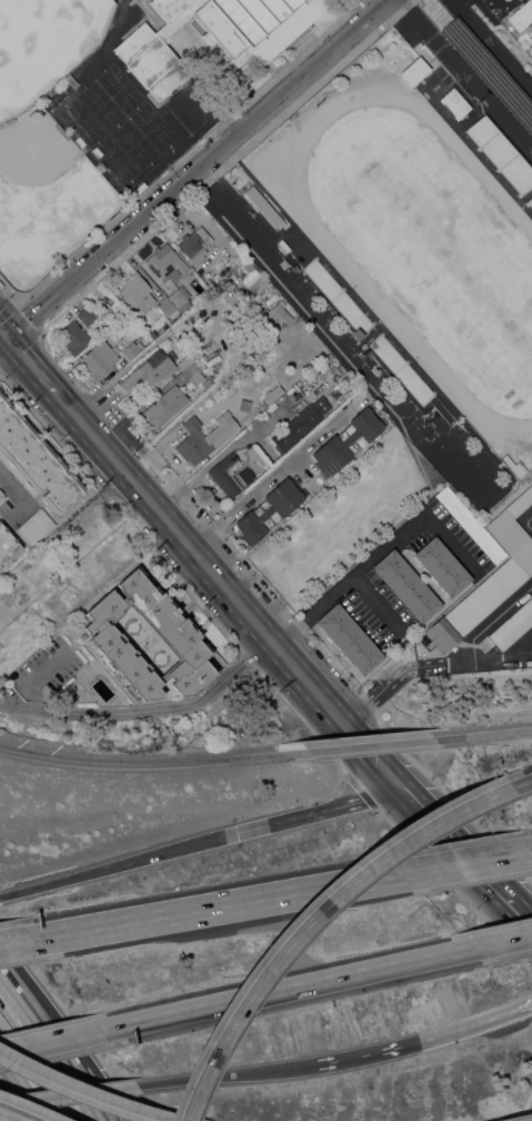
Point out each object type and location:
building: (496, 7)
building: (521, 14)
building: (213, 34)
building: (414, 71)
road: (285, 91)
building: (454, 103)
building: (7, 122)
building: (61, 130)
building: (500, 153)
building: (529, 201)
building: (262, 206)
building: (194, 244)
road: (91, 262)
building: (283, 262)
building: (165, 264)
building: (211, 276)
building: (252, 278)
building: (135, 294)
building: (179, 299)
building: (165, 307)
building: (87, 315)
building: (273, 318)
track: (398, 319)
road: (3, 334)
building: (355, 334)
building: (73, 337)
traffic signals: (7, 338)
building: (131, 348)
building: (98, 359)
road: (31, 366)
building: (190, 368)
building: (148, 371)
building: (272, 393)
building: (165, 405)
building: (261, 405)
building: (300, 423)
building: (203, 437)
building: (345, 442)
building: (34, 460)
road: (273, 472)
building: (227, 474)
building: (1, 495)
building: (269, 509)
building: (469, 523)
road: (526, 523)
building: (34, 526)
road: (178, 533)
building: (7, 546)
building: (442, 566)
building: (489, 575)
road: (348, 578)
building: (405, 585)
building: (512, 625)
building: (177, 634)
building: (349, 638)
road: (472, 639)
road: (400, 672)
road: (147, 713)
road: (352, 731)
road: (483, 735)
road: (361, 746)
road: (412, 754)
road: (143, 765)
road: (520, 783)
road: (322, 811)
traffic signals: (241, 833)
road: (460, 850)
road: (474, 862)
road: (120, 864)
road: (225, 905)
road: (524, 917)
road: (311, 919)
road: (17, 942)
road: (509, 942)
road: (2, 973)
road: (23, 986)
road: (294, 990)
road: (455, 1029)
road: (51, 1044)
road: (51, 1048)
road: (347, 1058)
road: (86, 1060)
road: (10, 1072)
road: (227, 1074)
road: (69, 1093)
road: (84, 1093)
road: (30, 1103)
road: (7, 1108)
road: (12, 1115)
road: (531, 1120)

